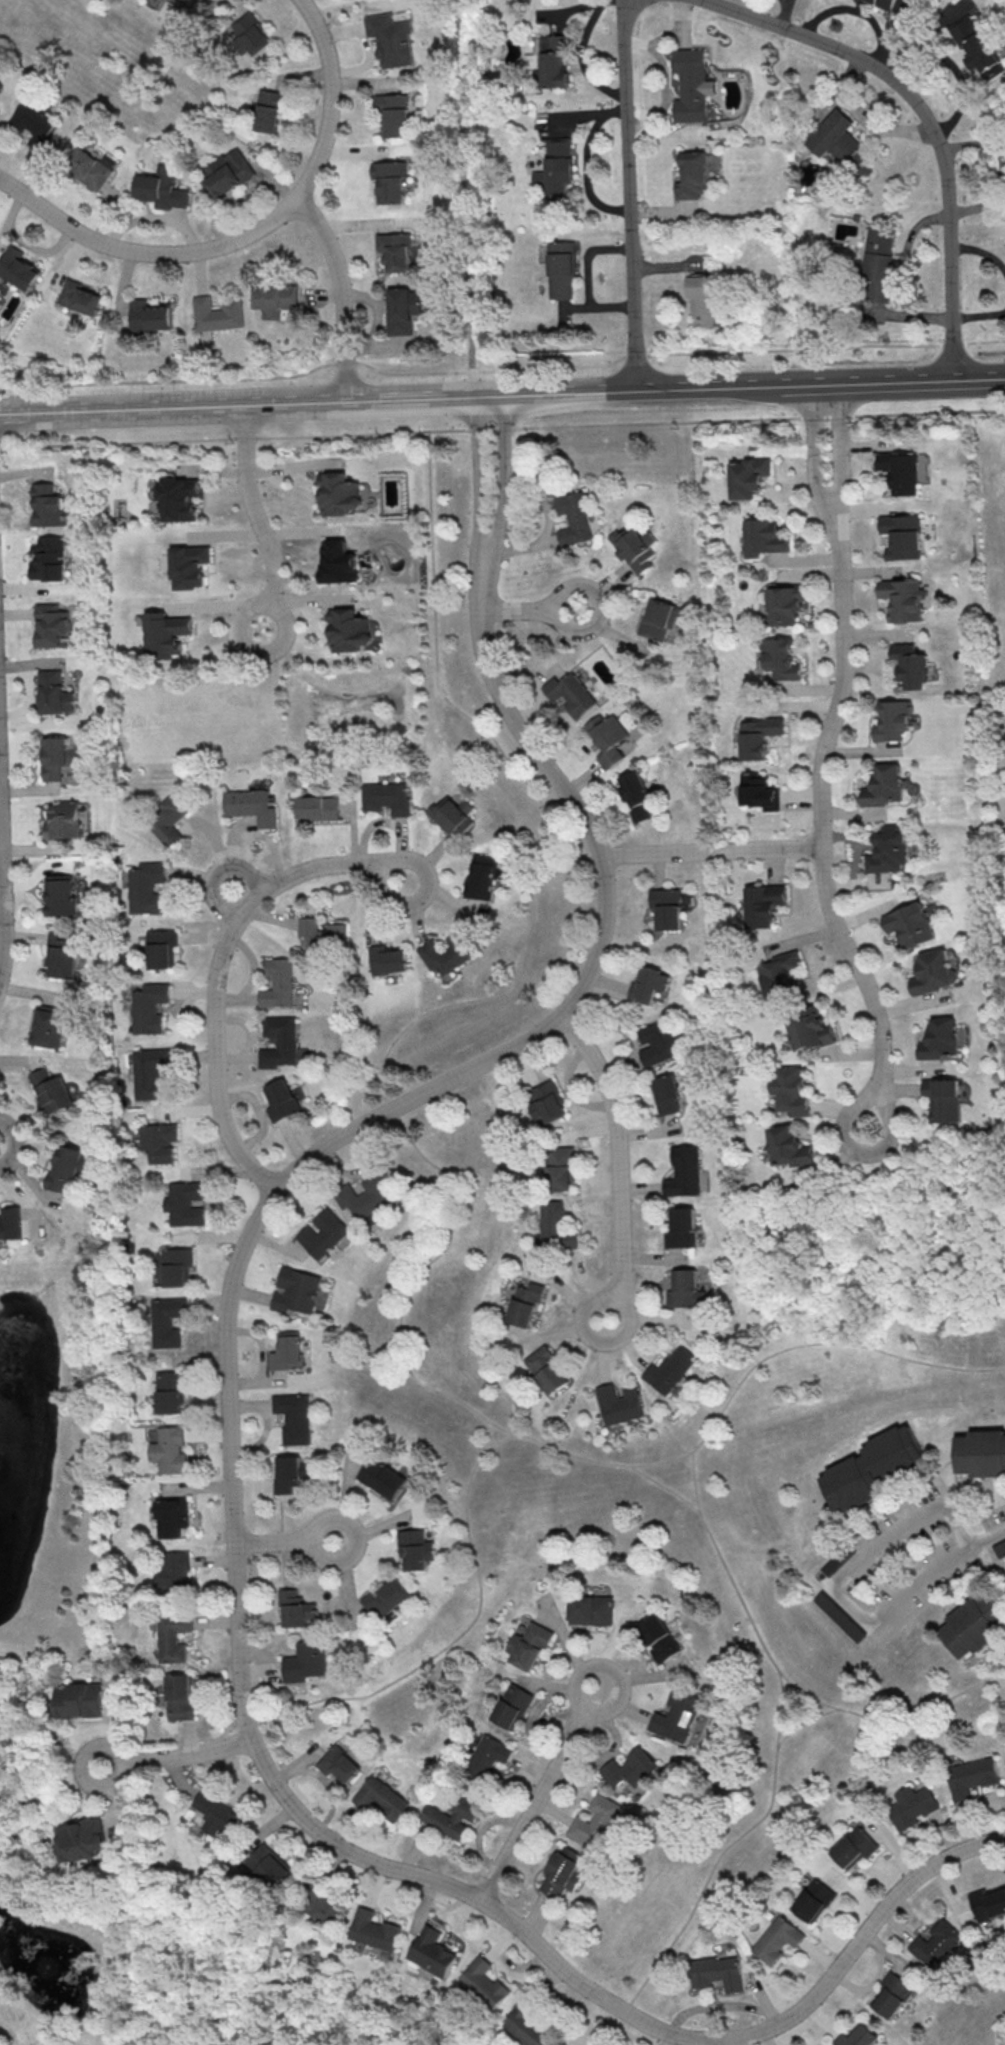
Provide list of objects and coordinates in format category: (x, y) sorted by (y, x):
building: (181, 1)
building: (881, 3)
building: (252, 34)
building: (393, 39)
building: (975, 47)
building: (554, 60)
building: (691, 84)
road: (332, 98)
building: (0, 109)
building: (270, 110)
building: (394, 115)
road: (925, 121)
building: (35, 125)
building: (840, 142)
building: (560, 165)
building: (91, 167)
building: (228, 172)
building: (694, 175)
building: (391, 182)
building: (164, 187)
road: (630, 196)
road: (465, 198)
road: (147, 250)
road: (980, 251)
building: (395, 252)
building: (879, 264)
building: (18, 268)
building: (562, 269)
road: (901, 272)
road: (338, 294)
building: (82, 297)
building: (278, 300)
building: (702, 301)
building: (401, 313)
building: (218, 314)
building: (152, 315)
road: (979, 316)
road: (983, 340)
road: (951, 344)
road: (793, 349)
road: (635, 355)
road: (345, 362)
road: (489, 370)
road: (168, 379)
road: (502, 398)
road: (501, 428)
road: (840, 455)
road: (815, 458)
building: (901, 471)
building: (748, 476)
road: (479, 493)
building: (337, 494)
road: (502, 495)
building: (175, 500)
building: (46, 504)
road: (253, 506)
building: (575, 519)
building: (764, 537)
building: (900, 537)
building: (638, 549)
building: (47, 562)
building: (187, 562)
building: (338, 563)
building: (900, 601)
road: (267, 603)
road: (599, 605)
building: (784, 605)
road: (515, 610)
building: (658, 618)
building: (52, 626)
building: (163, 631)
building: (350, 631)
building: (780, 658)
building: (912, 665)
road: (838, 687)
building: (55, 691)
building: (571, 692)
building: (894, 720)
building: (758, 736)
building: (609, 738)
building: (60, 763)
building: (885, 785)
building: (758, 792)
building: (636, 794)
building: (386, 797)
building: (250, 805)
building: (318, 807)
building: (453, 815)
building: (170, 818)
building: (65, 820)
building: (886, 850)
road: (711, 851)
road: (388, 864)
building: (484, 876)
road: (3, 886)
building: (146, 886)
road: (230, 887)
building: (62, 896)
building: (765, 904)
building: (667, 908)
building: (911, 924)
building: (324, 934)
building: (162, 947)
building: (451, 949)
building: (62, 955)
building: (388, 959)
road: (855, 968)
building: (936, 971)
building: (779, 974)
road: (215, 976)
building: (278, 983)
building: (650, 983)
road: (497, 991)
building: (150, 1006)
building: (49, 1025)
building: (811, 1031)
building: (942, 1038)
building: (280, 1042)
building: (658, 1042)
building: (149, 1075)
building: (791, 1089)
building: (53, 1091)
road: (877, 1092)
building: (668, 1094)
building: (944, 1098)
building: (283, 1100)
building: (547, 1102)
building: (160, 1140)
road: (14, 1142)
building: (789, 1147)
road: (618, 1150)
building: (561, 1168)
building: (72, 1169)
building: (685, 1171)
building: (363, 1196)
building: (186, 1202)
building: (11, 1223)
park: (879, 1223)
building: (557, 1225)
building: (682, 1228)
building: (325, 1232)
building: (178, 1266)
building: (685, 1288)
building: (297, 1292)
road: (615, 1297)
building: (526, 1303)
building: (168, 1320)
building: (288, 1351)
building: (547, 1369)
building: (671, 1369)
building: (171, 1391)
building: (619, 1404)
building: (294, 1417)
road: (487, 1430)
road: (552, 1447)
building: (171, 1451)
building: (981, 1453)
building: (876, 1466)
building: (287, 1475)
building: (383, 1477)
road: (665, 1487)
park: (59, 1505)
building: (171, 1517)
road: (233, 1524)
road: (883, 1537)
road: (355, 1538)
road: (272, 1541)
building: (999, 1547)
building: (415, 1548)
building: (840, 1562)
building: (176, 1568)
road: (934, 1576)
building: (389, 1595)
building: (295, 1607)
building: (591, 1609)
building: (839, 1615)
building: (975, 1626)
building: (659, 1637)
building: (172, 1638)
building: (531, 1645)
road: (13, 1659)
building: (304, 1661)
road: (50, 1662)
road: (609, 1669)
road: (785, 1675)
building: (180, 1696)
building: (81, 1700)
building: (513, 1706)
road: (111, 1712)
building: (677, 1716)
road: (804, 1721)
road: (97, 1739)
road: (191, 1753)
building: (488, 1755)
building: (339, 1763)
building: (630, 1769)
building: (972, 1776)
building: (377, 1797)
road: (533, 1803)
building: (913, 1806)
building: (217, 1813)
building: (450, 1815)
building: (594, 1820)
building: (85, 1841)
road: (727, 1847)
building: (855, 1848)
building: (269, 1864)
building: (564, 1872)
building: (814, 1900)
building: (989, 1902)
building: (324, 1906)
building: (373, 1930)
building: (778, 1938)
building: (936, 1943)
building: (429, 1952)
building: (718, 1972)
building: (484, 1981)
building: (893, 1995)
road: (719, 2006)
park: (974, 2012)
building: (527, 2025)
building: (858, 2037)
road: (728, 2041)

